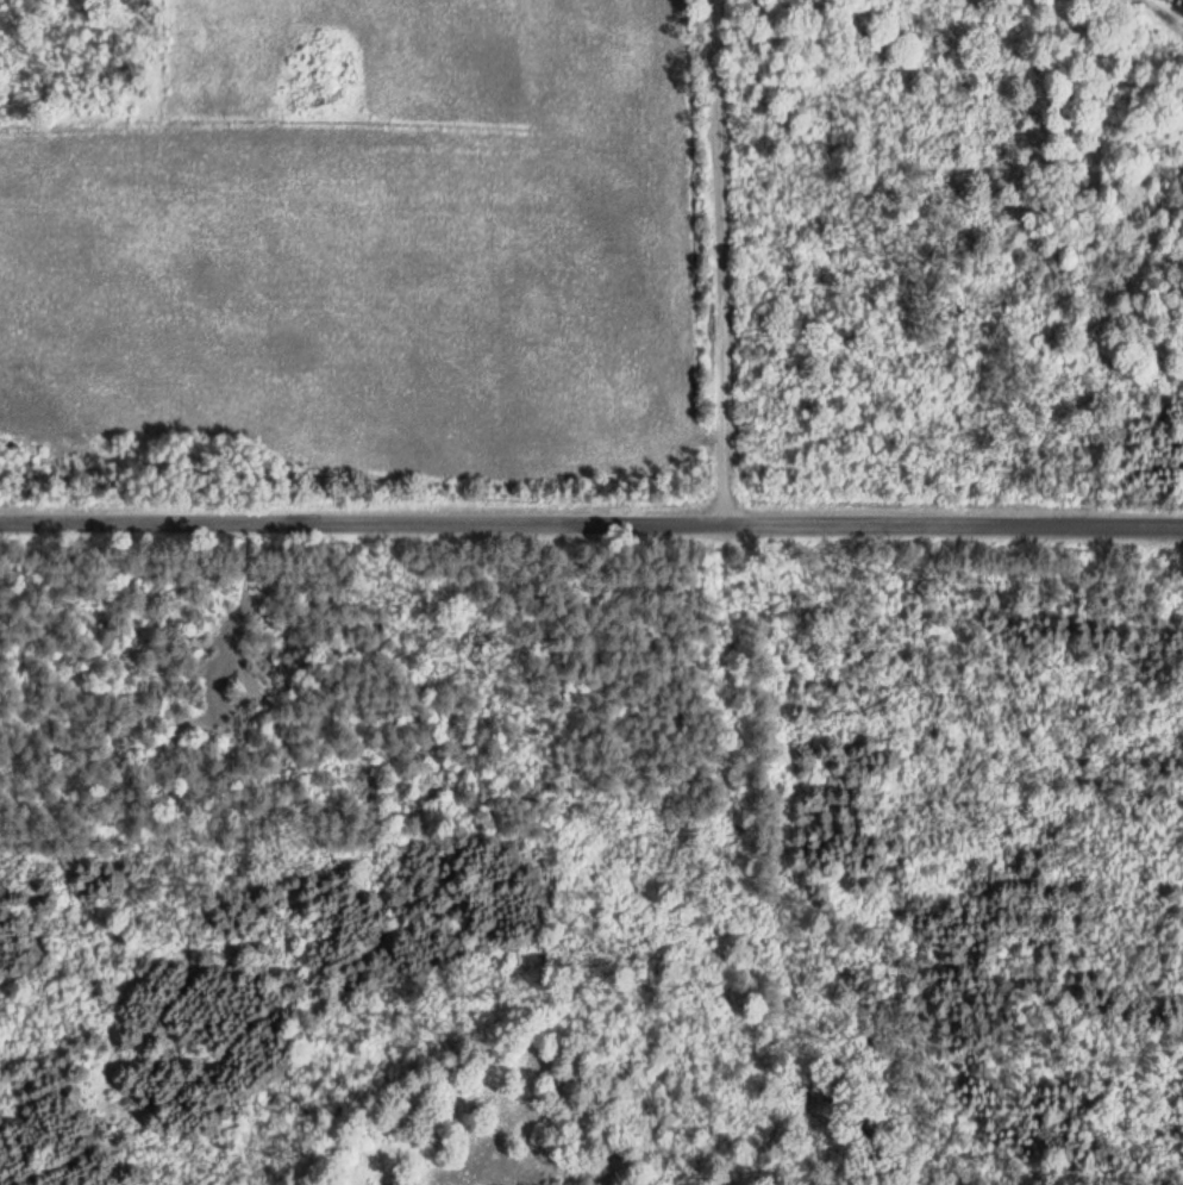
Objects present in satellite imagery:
road: (718, 256)
road: (591, 512)

